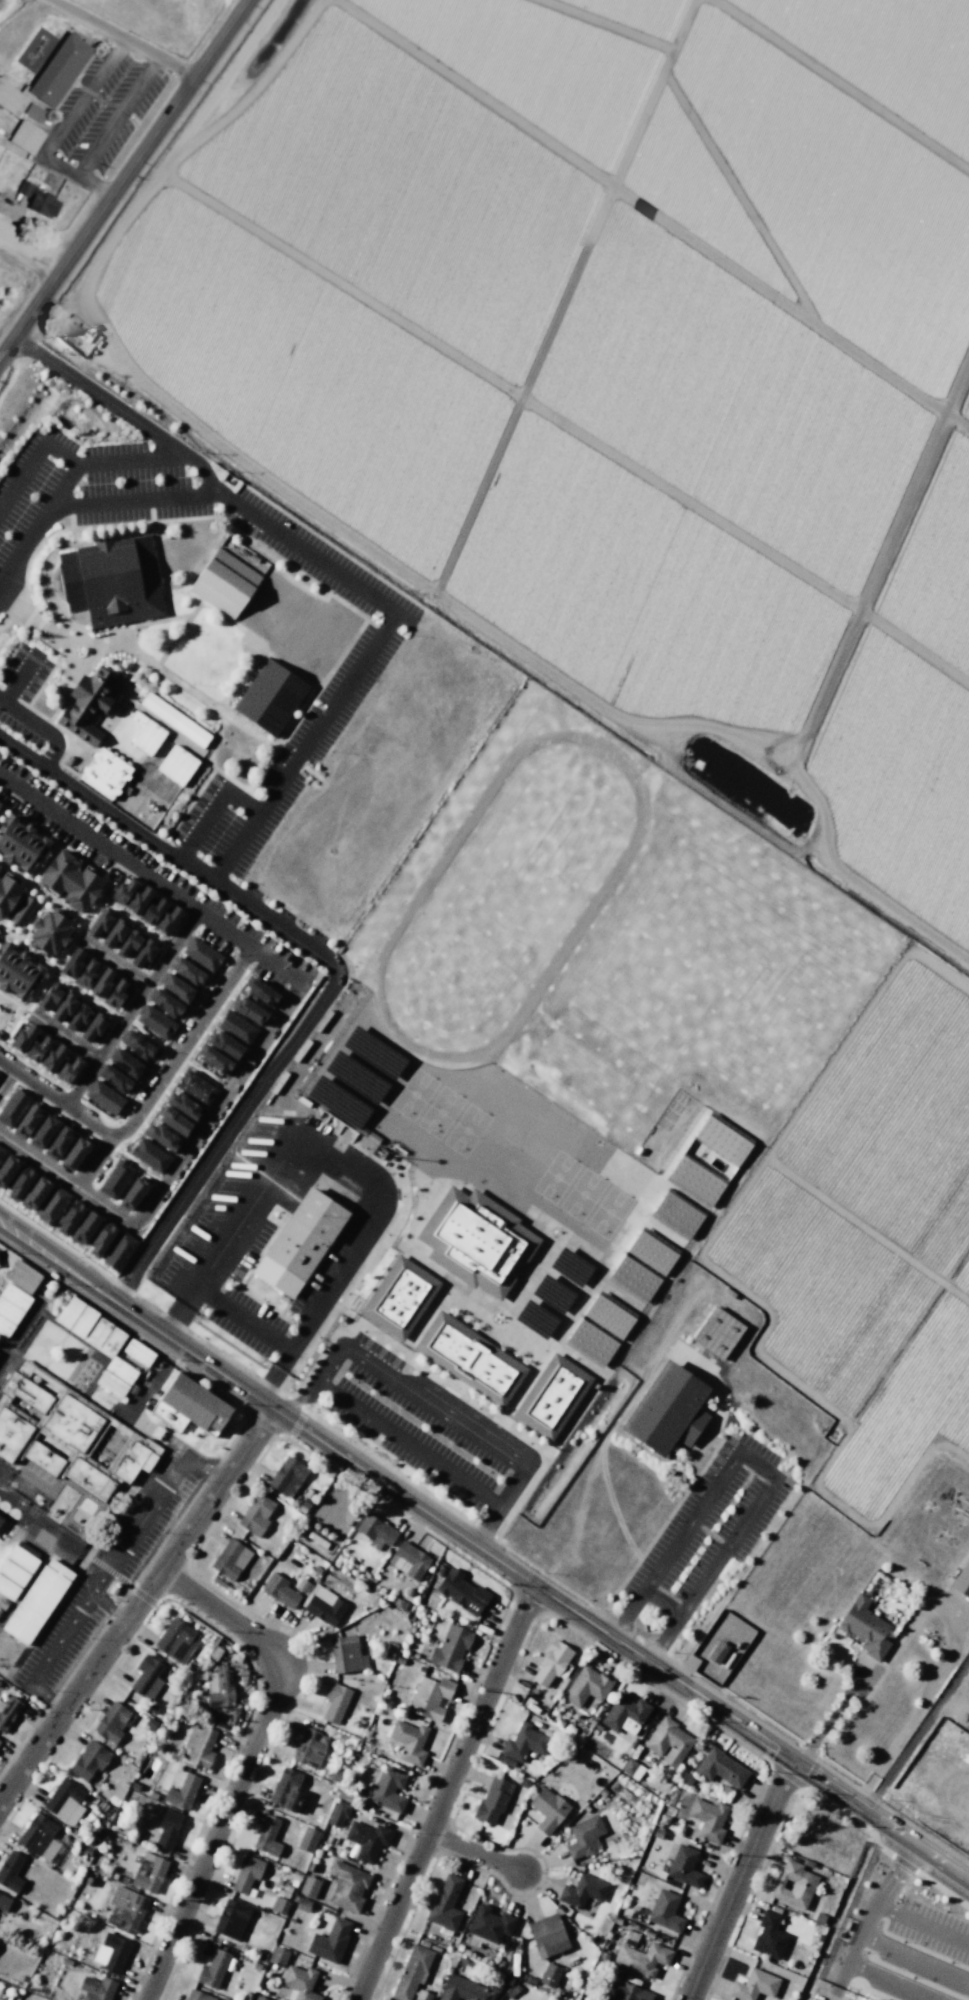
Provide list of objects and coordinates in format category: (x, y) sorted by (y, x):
road: (125, 39)
building: (62, 70)
building: (15, 98)
road: (72, 110)
building: (36, 113)
road: (117, 115)
building: (28, 137)
road: (125, 182)
road: (96, 186)
building: (40, 200)
crop: (640, 460)
road: (75, 463)
road: (211, 483)
road: (58, 494)
road: (126, 500)
road: (19, 552)
building: (111, 582)
building: (224, 583)
road: (20, 676)
building: (270, 697)
building: (88, 703)
building: (174, 719)
road: (42, 728)
building: (147, 735)
road: (303, 748)
building: (177, 765)
building: (103, 775)
road: (2, 807)
road: (214, 809)
building: (19, 843)
road: (60, 843)
building: (0, 867)
road: (33, 873)
building: (70, 880)
road: (106, 883)
building: (123, 891)
building: (8, 893)
track: (507, 897)
building: (138, 900)
road: (54, 901)
road: (97, 901)
road: (15, 907)
building: (23, 911)
building: (153, 911)
building: (167, 920)
building: (99, 923)
road: (178, 926)
road: (2, 930)
building: (49, 932)
building: (114, 933)
road: (10, 935)
road: (18, 937)
building: (129, 942)
building: (144, 953)
building: (201, 954)
road: (156, 958)
building: (72, 962)
road: (113, 963)
road: (239, 965)
road: (333, 967)
building: (16, 971)
building: (188, 972)
road: (317, 972)
building: (86, 973)
road: (231, 975)
road: (67, 981)
road: (141, 982)
building: (101, 983)
building: (177, 988)
building: (116, 993)
building: (261, 993)
building: (49, 996)
road: (11, 1000)
building: (165, 1002)
building: (63, 1007)
road: (131, 1008)
building: (249, 1010)
park: (7, 1014)
road: (215, 1015)
building: (79, 1016)
road: (116, 1018)
road: (123, 1021)
building: (155, 1022)
road: (12, 1024)
building: (93, 1026)
building: (236, 1027)
building: (23, 1037)
road: (65, 1037)
road: (149, 1039)
building: (137, 1045)
building: (226, 1045)
building: (38, 1048)
building: (373, 1052)
road: (92, 1053)
building: (53, 1058)
road: (160, 1059)
building: (215, 1060)
building: (126, 1064)
building: (68, 1069)
road: (200, 1069)
building: (353, 1076)
road: (5, 1077)
road: (8, 1077)
road: (47, 1078)
building: (115, 1079)
building: (196, 1088)
road: (68, 1093)
building: (103, 1097)
road: (77, 1099)
building: (337, 1101)
building: (185, 1106)
building: (12, 1107)
road: (58, 1111)
building: (27, 1120)
building: (174, 1121)
road: (138, 1127)
building: (44, 1130)
road: (215, 1134)
building: (163, 1138)
building: (722, 1140)
building: (59, 1141)
road: (106, 1143)
road: (191, 1143)
building: (1, 1151)
building: (75, 1153)
building: (150, 1155)
road: (94, 1162)
road: (340, 1162)
road: (138, 1166)
building: (7, 1169)
building: (115, 1179)
building: (695, 1179)
building: (20, 1182)
building: (134, 1191)
building: (35, 1194)
building: (52, 1205)
building: (676, 1213)
building: (70, 1216)
building: (85, 1227)
building: (102, 1238)
building: (475, 1240)
road: (58, 1241)
building: (299, 1243)
building: (119, 1251)
building: (651, 1252)
building: (571, 1266)
building: (21, 1276)
building: (634, 1277)
building: (552, 1292)
building: (15, 1296)
building: (398, 1297)
building: (9, 1311)
building: (69, 1312)
building: (608, 1316)
building: (535, 1318)
building: (82, 1321)
building: (5, 1327)
building: (98, 1332)
building: (717, 1332)
building: (591, 1340)
building: (111, 1342)
building: (137, 1352)
building: (470, 1358)
building: (121, 1370)
road: (315, 1381)
building: (111, 1384)
building: (552, 1396)
building: (194, 1404)
road: (433, 1404)
building: (667, 1410)
building: (167, 1417)
parking lot: (417, 1422)
building: (156, 1432)
building: (67, 1434)
road: (408, 1441)
road: (756, 1465)
building: (287, 1477)
road: (512, 1484)
building: (306, 1500)
building: (255, 1514)
building: (1, 1519)
parking lot: (709, 1522)
road: (487, 1523)
building: (375, 1531)
road: (484, 1551)
building: (22, 1556)
building: (230, 1559)
building: (408, 1560)
building: (59, 1569)
building: (316, 1570)
building: (438, 1570)
road: (106, 1571)
building: (12, 1572)
building: (961, 1580)
building: (302, 1585)
building: (8, 1588)
building: (279, 1590)
building: (461, 1592)
building: (2, 1603)
building: (34, 1604)
road: (110, 1605)
road: (136, 1605)
building: (323, 1605)
building: (0, 1610)
building: (864, 1627)
building: (176, 1639)
parking lot: (57, 1644)
building: (450, 1649)
building: (390, 1650)
building: (717, 1652)
building: (346, 1654)
building: (400, 1661)
building: (551, 1662)
building: (148, 1677)
building: (586, 1686)
building: (219, 1688)
building: (429, 1697)
building: (335, 1702)
building: (8, 1711)
building: (625, 1714)
building: (113, 1722)
building: (408, 1741)
building: (668, 1741)
building: (524, 1742)
building: (201, 1747)
building: (309, 1748)
building: (89, 1759)
building: (505, 1761)
road: (246, 1765)
building: (720, 1767)
crop: (935, 1767)
building: (632, 1768)
building: (336, 1777)
building: (523, 1783)
building: (286, 1789)
building: (388, 1789)
building: (182, 1792)
road: (445, 1792)
building: (492, 1800)
building: (64, 1802)
building: (548, 1810)
building: (338, 1813)
building: (709, 1817)
building: (168, 1829)
building: (267, 1835)
building: (39, 1836)
building: (583, 1836)
building: (307, 1839)
building: (367, 1839)
road: (474, 1852)
building: (807, 1863)
building: (684, 1865)
building: (311, 1867)
building: (11, 1871)
building: (148, 1872)
building: (246, 1873)
road: (738, 1879)
building: (793, 1885)
building: (309, 1886)
building: (347, 1886)
building: (582, 1891)
building: (283, 1894)
building: (4, 1902)
building: (445, 1904)
building: (279, 1905)
building: (303, 1905)
building: (126, 1909)
building: (665, 1911)
road: (869, 1915)
building: (819, 1917)
building: (231, 1919)
building: (489, 1924)
road: (922, 1924)
building: (544, 1933)
building: (769, 1935)
building: (596, 1936)
building: (329, 1940)
building: (112, 1952)
building: (277, 1956)
building: (642, 1958)
road: (915, 1960)
building: (213, 1969)
building: (411, 1971)
building: (549, 1975)
building: (528, 1978)
building: (300, 1982)
road: (891, 1982)
building: (753, 1985)
building: (97, 1988)
building: (467, 1990)
building: (630, 1992)
building: (197, 1995)
building: (422, 1995)
building: (259, 1998)
building: (862, 1999)
building: (868, 1999)

